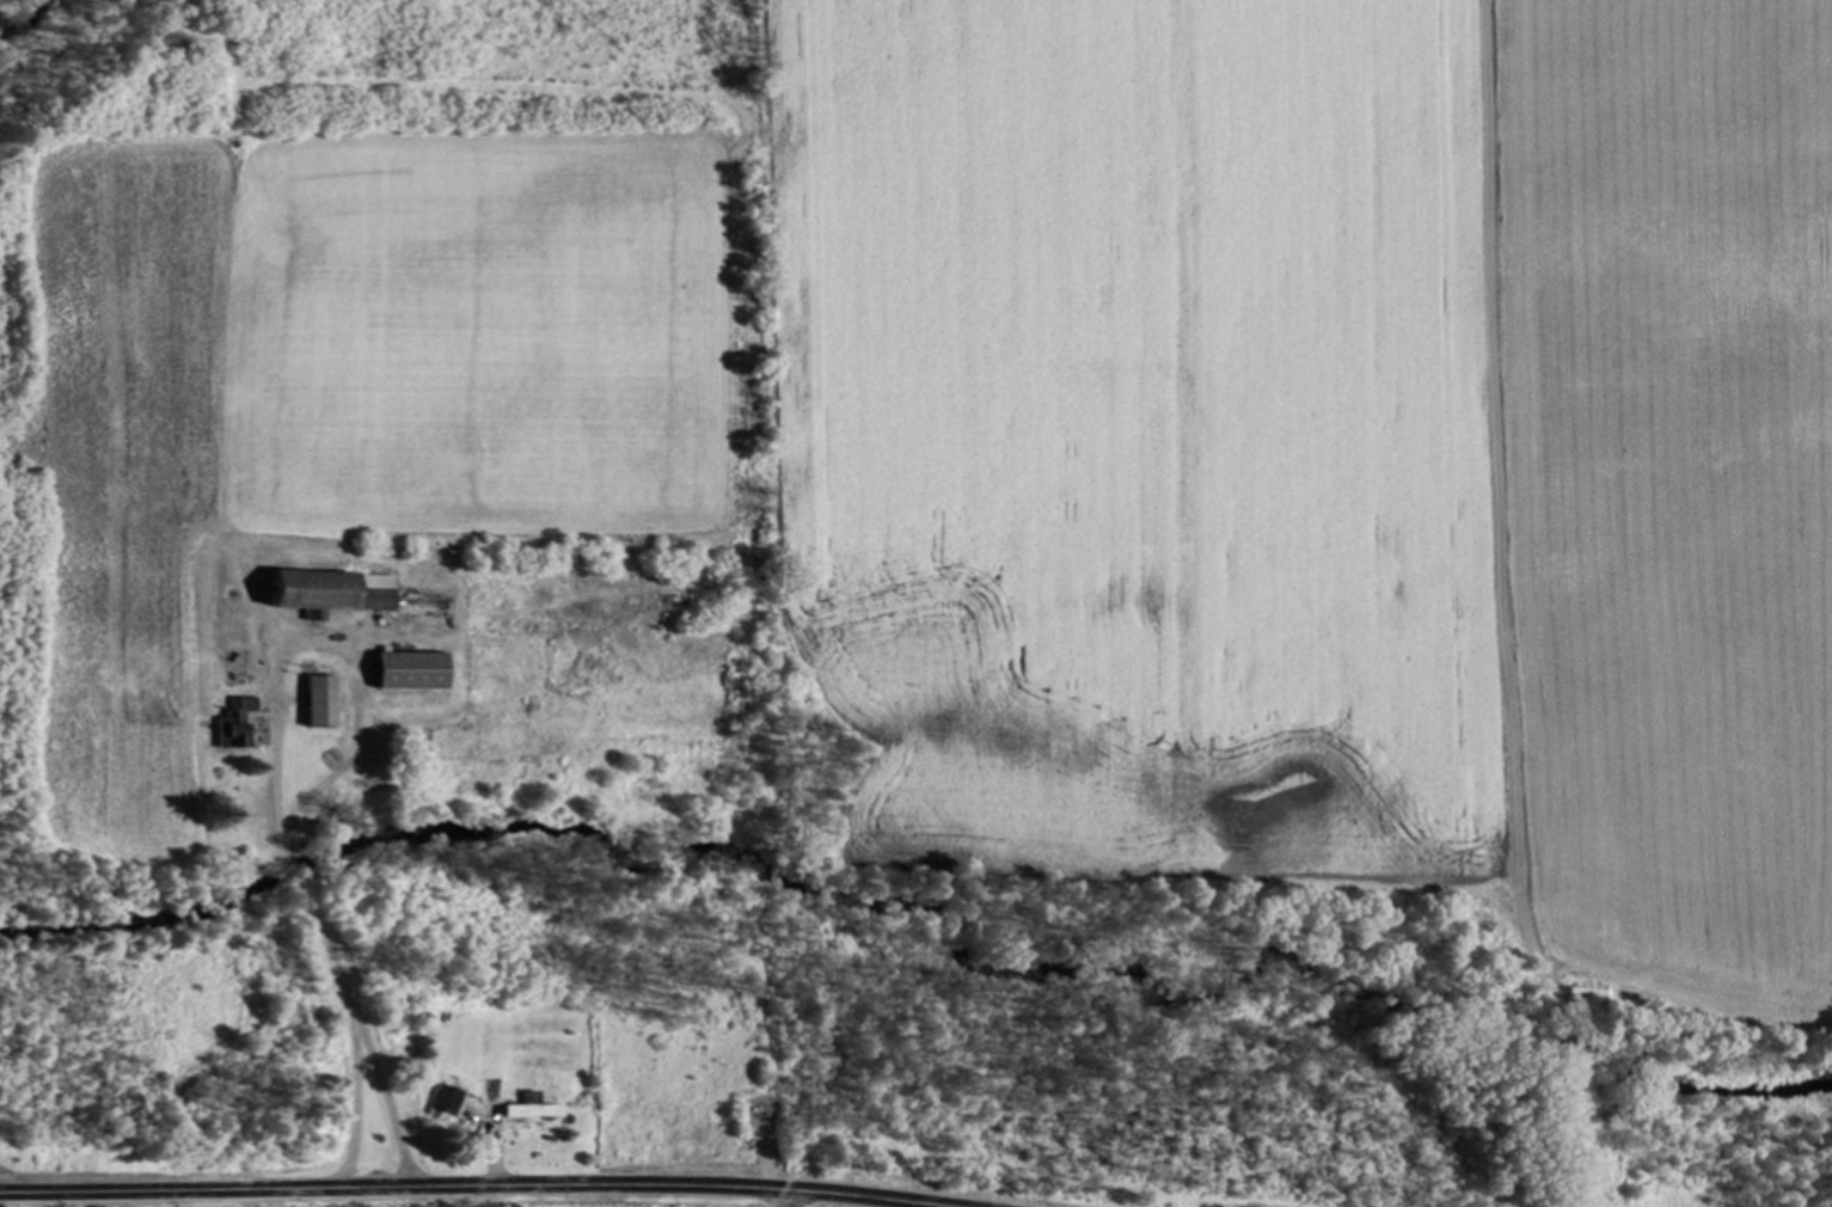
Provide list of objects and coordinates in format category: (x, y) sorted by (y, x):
building: (335, 592)
building: (412, 670)
building: (324, 701)
building: (238, 724)
building: (448, 1102)
building: (534, 1111)
road: (468, 1187)
road: (786, 1199)

